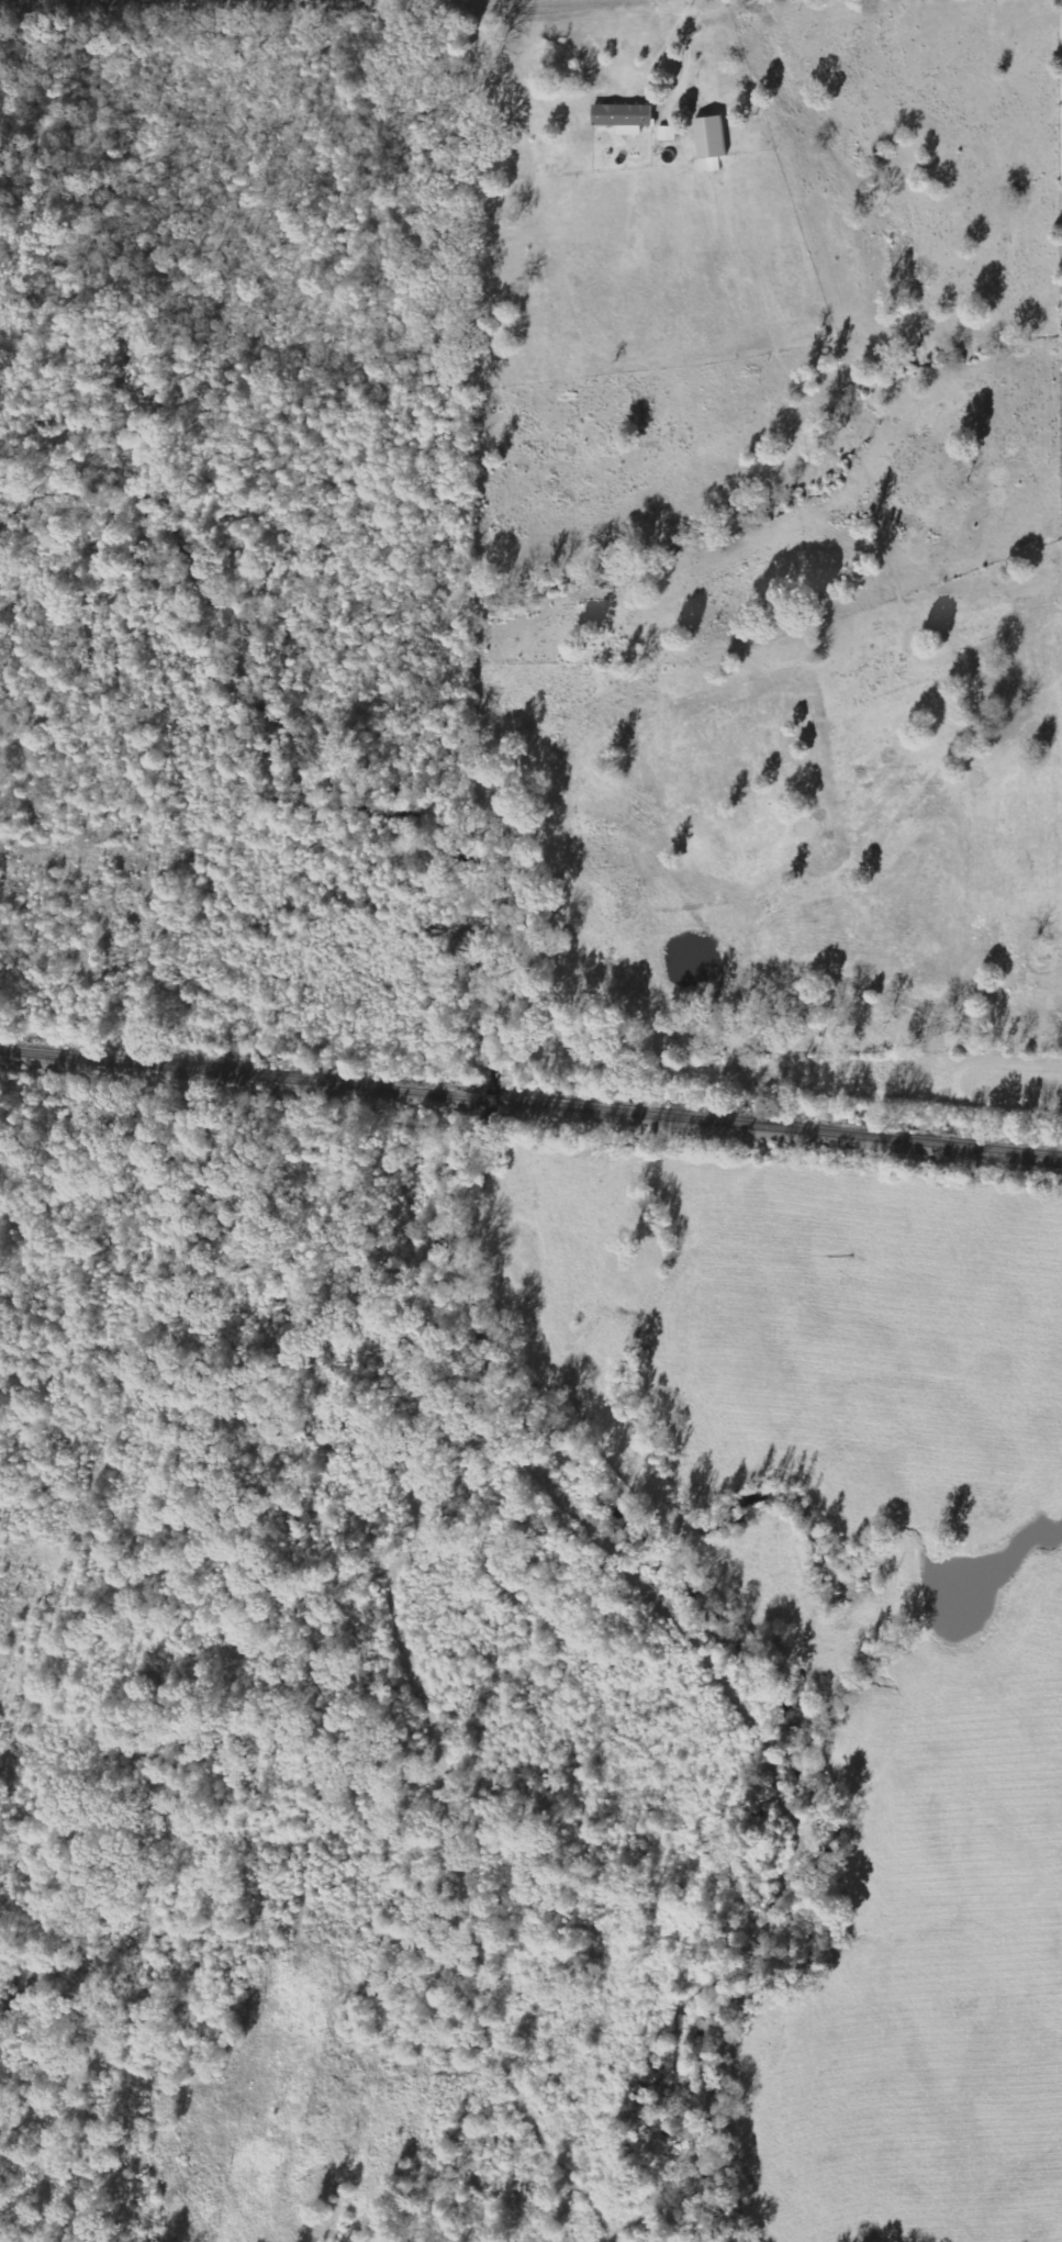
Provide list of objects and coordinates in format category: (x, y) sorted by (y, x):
road: (684, 4)
road: (662, 99)
building: (625, 118)
building: (668, 133)
building: (713, 141)
railway: (530, 1103)

